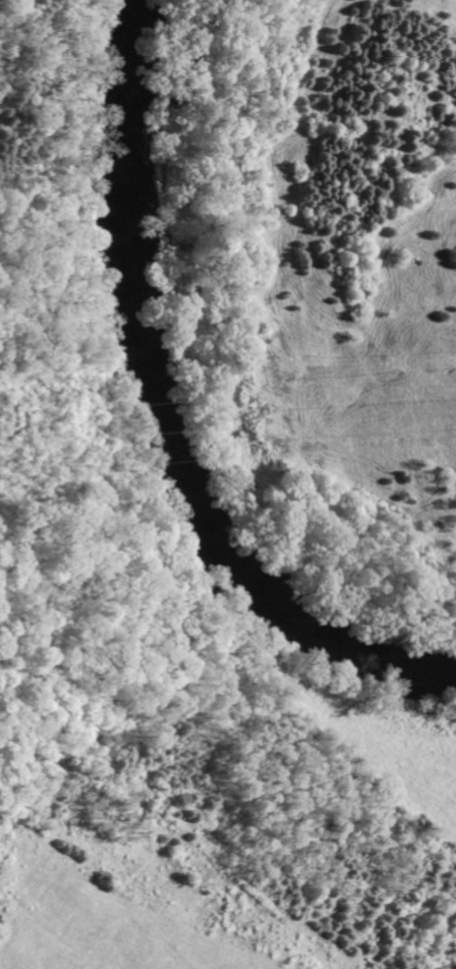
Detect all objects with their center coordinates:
river: (151, 416)

